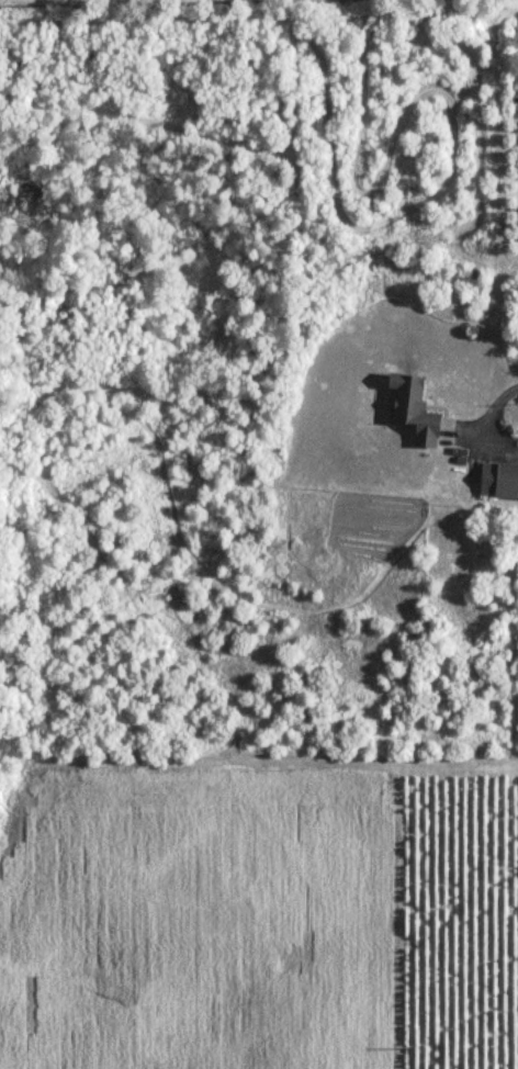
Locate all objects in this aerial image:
building: (412, 408)
road: (484, 416)
building: (498, 480)

